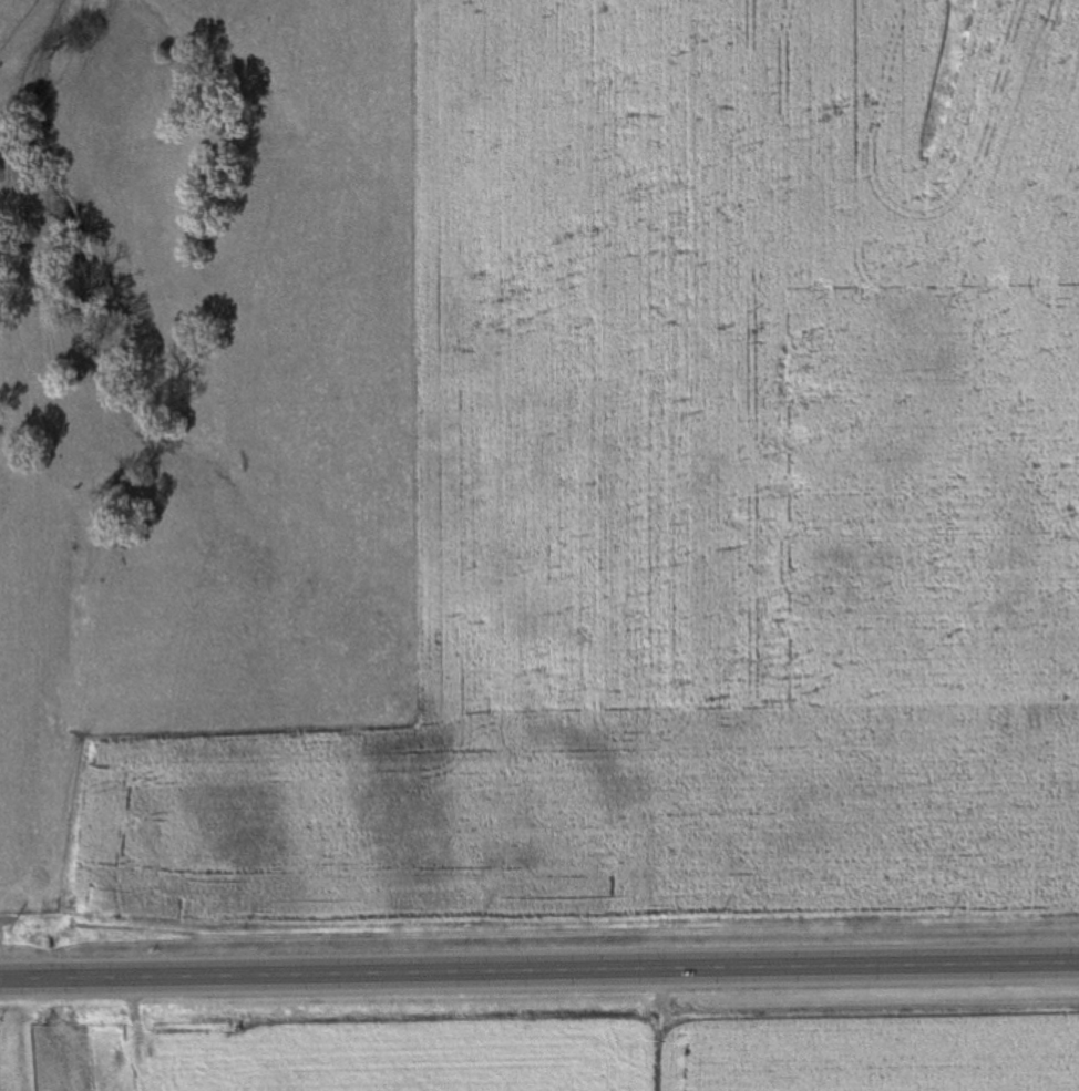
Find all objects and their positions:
road: (539, 975)

